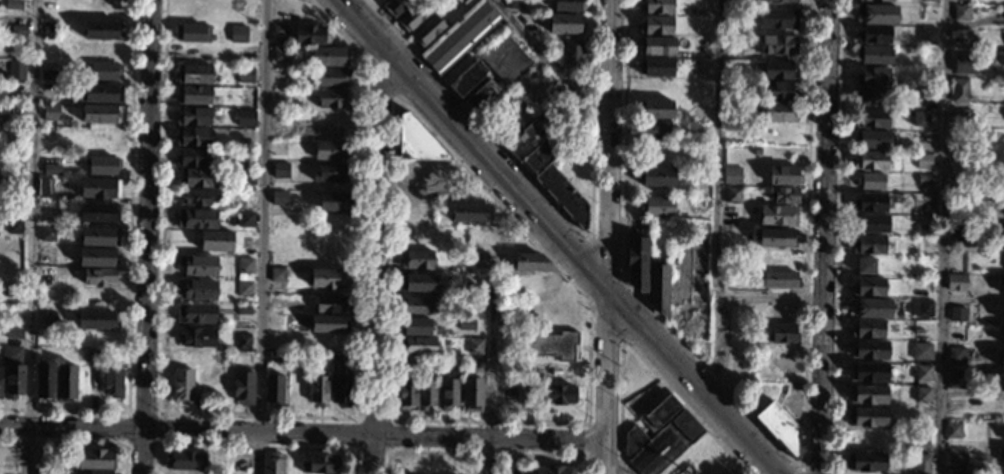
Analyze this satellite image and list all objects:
building: (880, 0)
building: (778, 1)
building: (929, 1)
building: (13, 4)
building: (515, 4)
road: (501, 5)
building: (568, 5)
building: (395, 6)
building: (655, 6)
building: (960, 13)
building: (877, 14)
building: (929, 14)
building: (414, 15)
building: (778, 19)
building: (564, 24)
building: (656, 26)
building: (102, 30)
building: (280, 30)
building: (428, 30)
building: (18, 31)
building: (50, 32)
building: (194, 32)
building: (239, 32)
building: (311, 34)
building: (873, 35)
building: (459, 36)
building: (928, 36)
building: (777, 45)
building: (16, 46)
building: (656, 46)
building: (572, 53)
building: (928, 53)
building: (280, 54)
building: (874, 55)
building: (329, 56)
road: (550, 63)
building: (965, 63)
building: (655, 67)
building: (999, 68)
building: (16, 70)
building: (778, 70)
building: (105, 71)
building: (497, 71)
building: (48, 74)
building: (193, 74)
building: (245, 75)
building: (872, 76)
building: (331, 77)
building: (928, 77)
road: (381, 78)
building: (466, 79)
building: (553, 90)
building: (958, 90)
building: (16, 91)
building: (778, 91)
building: (99, 94)
building: (193, 95)
building: (928, 95)
building: (873, 96)
building: (332, 99)
building: (561, 106)
building: (655, 109)
building: (51, 112)
building: (778, 112)
building: (101, 114)
building: (246, 116)
building: (193, 117)
building: (920, 118)
building: (961, 118)
building: (871, 119)
building: (652, 129)
building: (193, 137)
building: (528, 137)
building: (928, 137)
building: (872, 139)
building: (331, 150)
building: (192, 158)
building: (539, 158)
building: (425, 160)
building: (871, 160)
building: (923, 161)
building: (99, 163)
building: (46, 167)
building: (280, 171)
building: (331, 173)
building: (732, 173)
building: (784, 175)
building: (656, 176)
building: (195, 178)
building: (247, 178)
building: (924, 180)
building: (870, 182)
building: (44, 187)
building: (99, 188)
building: (733, 194)
building: (562, 195)
building: (785, 195)
building: (198, 198)
building: (278, 198)
road: (493, 200)
building: (333, 201)
road: (717, 201)
building: (15, 202)
building: (869, 202)
building: (924, 202)
building: (698, 205)
building: (656, 206)
road: (558, 208)
building: (415, 209)
building: (50, 212)
building: (471, 212)
building: (1003, 212)
building: (99, 213)
building: (777, 216)
building: (245, 218)
building: (197, 219)
building: (870, 223)
building: (14, 225)
building: (925, 231)
building: (47, 233)
building: (958, 234)
road: (29, 236)
road: (262, 236)
building: (1002, 236)
building: (100, 237)
road: (147, 237)
road: (608, 237)
road: (826, 237)
road: (838, 237)
road: (942, 237)
road: (550, 238)
building: (777, 238)
building: (216, 241)
building: (869, 245)
building: (46, 254)
building: (98, 257)
building: (416, 259)
building: (479, 259)
building: (531, 262)
building: (637, 262)
building: (198, 266)
road: (377, 266)
building: (866, 266)
road: (128, 269)
building: (243, 269)
parking lot: (689, 271)
building: (276, 274)
building: (46, 276)
building: (100, 277)
building: (328, 278)
building: (777, 279)
building: (418, 282)
building: (956, 282)
building: (994, 282)
building: (868, 287)
building: (659, 288)
building: (243, 289)
building: (196, 290)
building: (12, 293)
road: (771, 297)
road: (687, 301)
building: (329, 304)
building: (476, 304)
building: (416, 305)
building: (871, 308)
building: (924, 308)
building: (244, 309)
building: (196, 313)
building: (1003, 313)
building: (959, 314)
building: (97, 320)
building: (329, 324)
building: (418, 325)
building: (475, 325)
building: (868, 329)
building: (783, 333)
building: (957, 333)
building: (11, 334)
building: (1002, 336)
building: (197, 337)
building: (242, 342)
road: (623, 342)
building: (418, 345)
building: (555, 345)
building: (475, 346)
building: (869, 349)
building: (921, 351)
building: (11, 354)
building: (93, 355)
building: (956, 355)
building: (275, 357)
road: (640, 359)
building: (1002, 359)
building: (345, 362)
building: (471, 362)
building: (868, 372)
building: (923, 373)
road: (489, 376)
building: (113, 380)
building: (14, 381)
building: (44, 382)
building: (0, 383)
building: (66, 383)
building: (955, 384)
building: (182, 385)
building: (243, 387)
building: (274, 389)
building: (319, 390)
building: (342, 392)
building: (407, 393)
building: (449, 393)
building: (508, 393)
building: (426, 394)
building: (472, 394)
building: (557, 394)
building: (867, 394)
building: (923, 395)
road: (159, 412)
building: (659, 414)
road: (272, 415)
building: (866, 417)
road: (389, 421)
road: (587, 424)
building: (780, 429)
building: (953, 431)
road: (303, 432)
building: (1003, 435)
road: (774, 442)
road: (77, 443)
building: (660, 444)
road: (253, 446)
road: (486, 452)
building: (1001, 454)
building: (95, 459)
building: (186, 460)
building: (865, 462)
building: (958, 462)
building: (273, 464)
road: (613, 464)
building: (921, 464)
building: (321, 465)
building: (508, 468)
road: (799, 469)
building: (553, 470)
building: (43, 472)
building: (99, 472)
building: (726, 472)
building: (182, 473)

